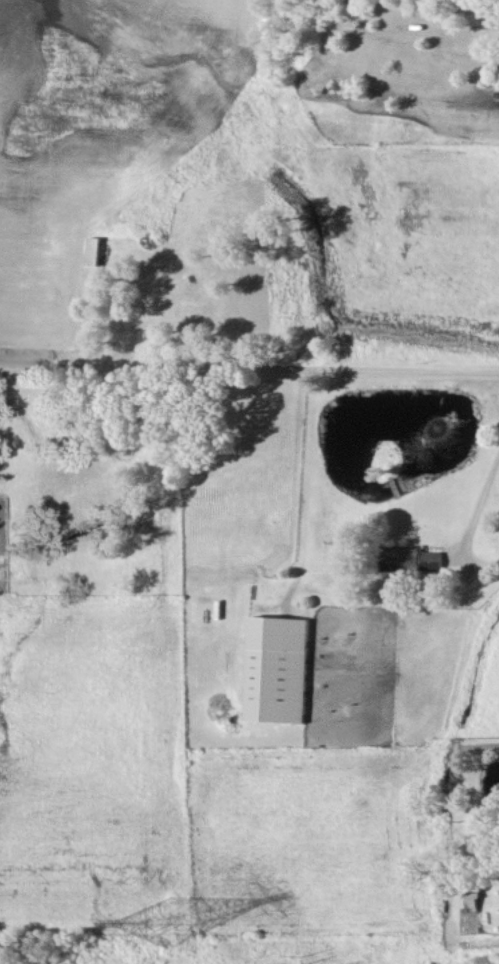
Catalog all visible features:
road: (249, 359)
road: (480, 506)
building: (424, 562)
building: (286, 672)
road: (483, 749)
power tower: (171, 928)
power tower: (318, 963)

